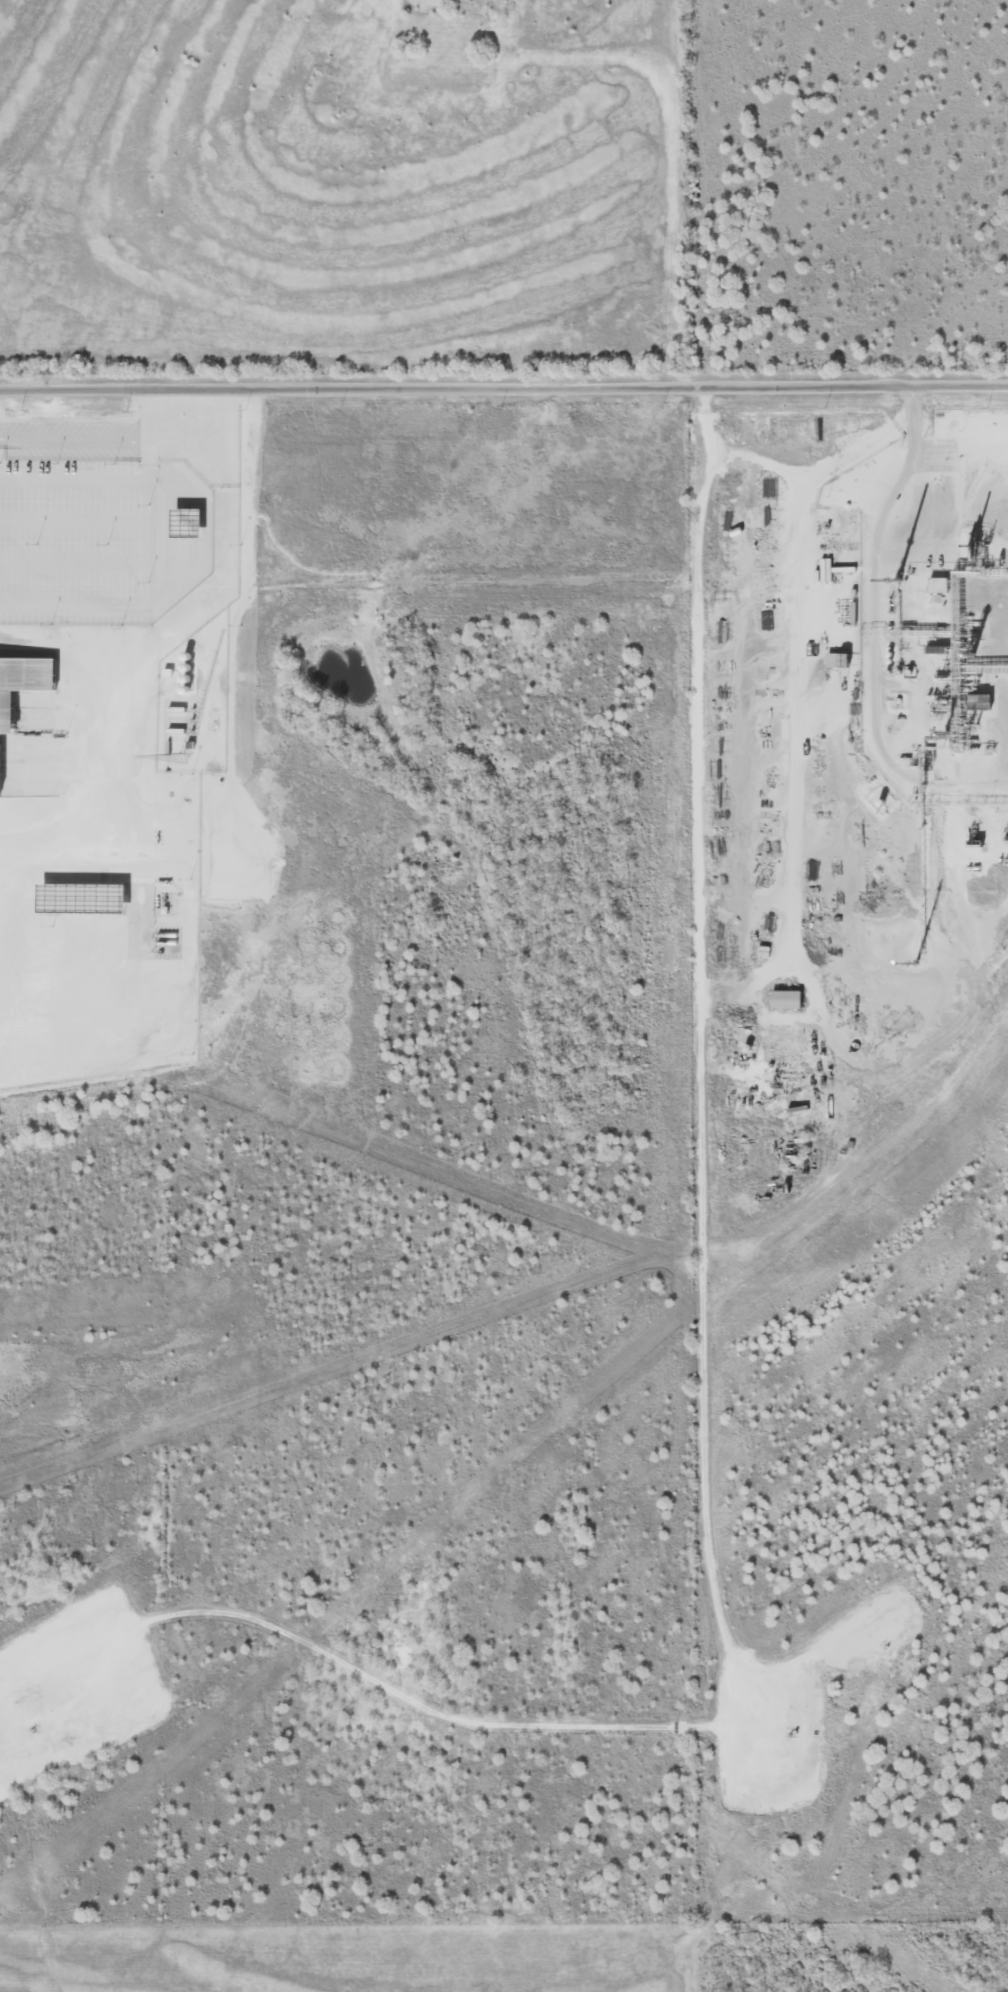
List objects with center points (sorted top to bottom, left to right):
road: (504, 392)
building: (963, 421)
building: (1006, 424)
building: (983, 445)
building: (1001, 466)
building: (937, 585)
building: (836, 661)
building: (25, 677)
building: (979, 702)
building: (785, 999)
road: (700, 1359)

